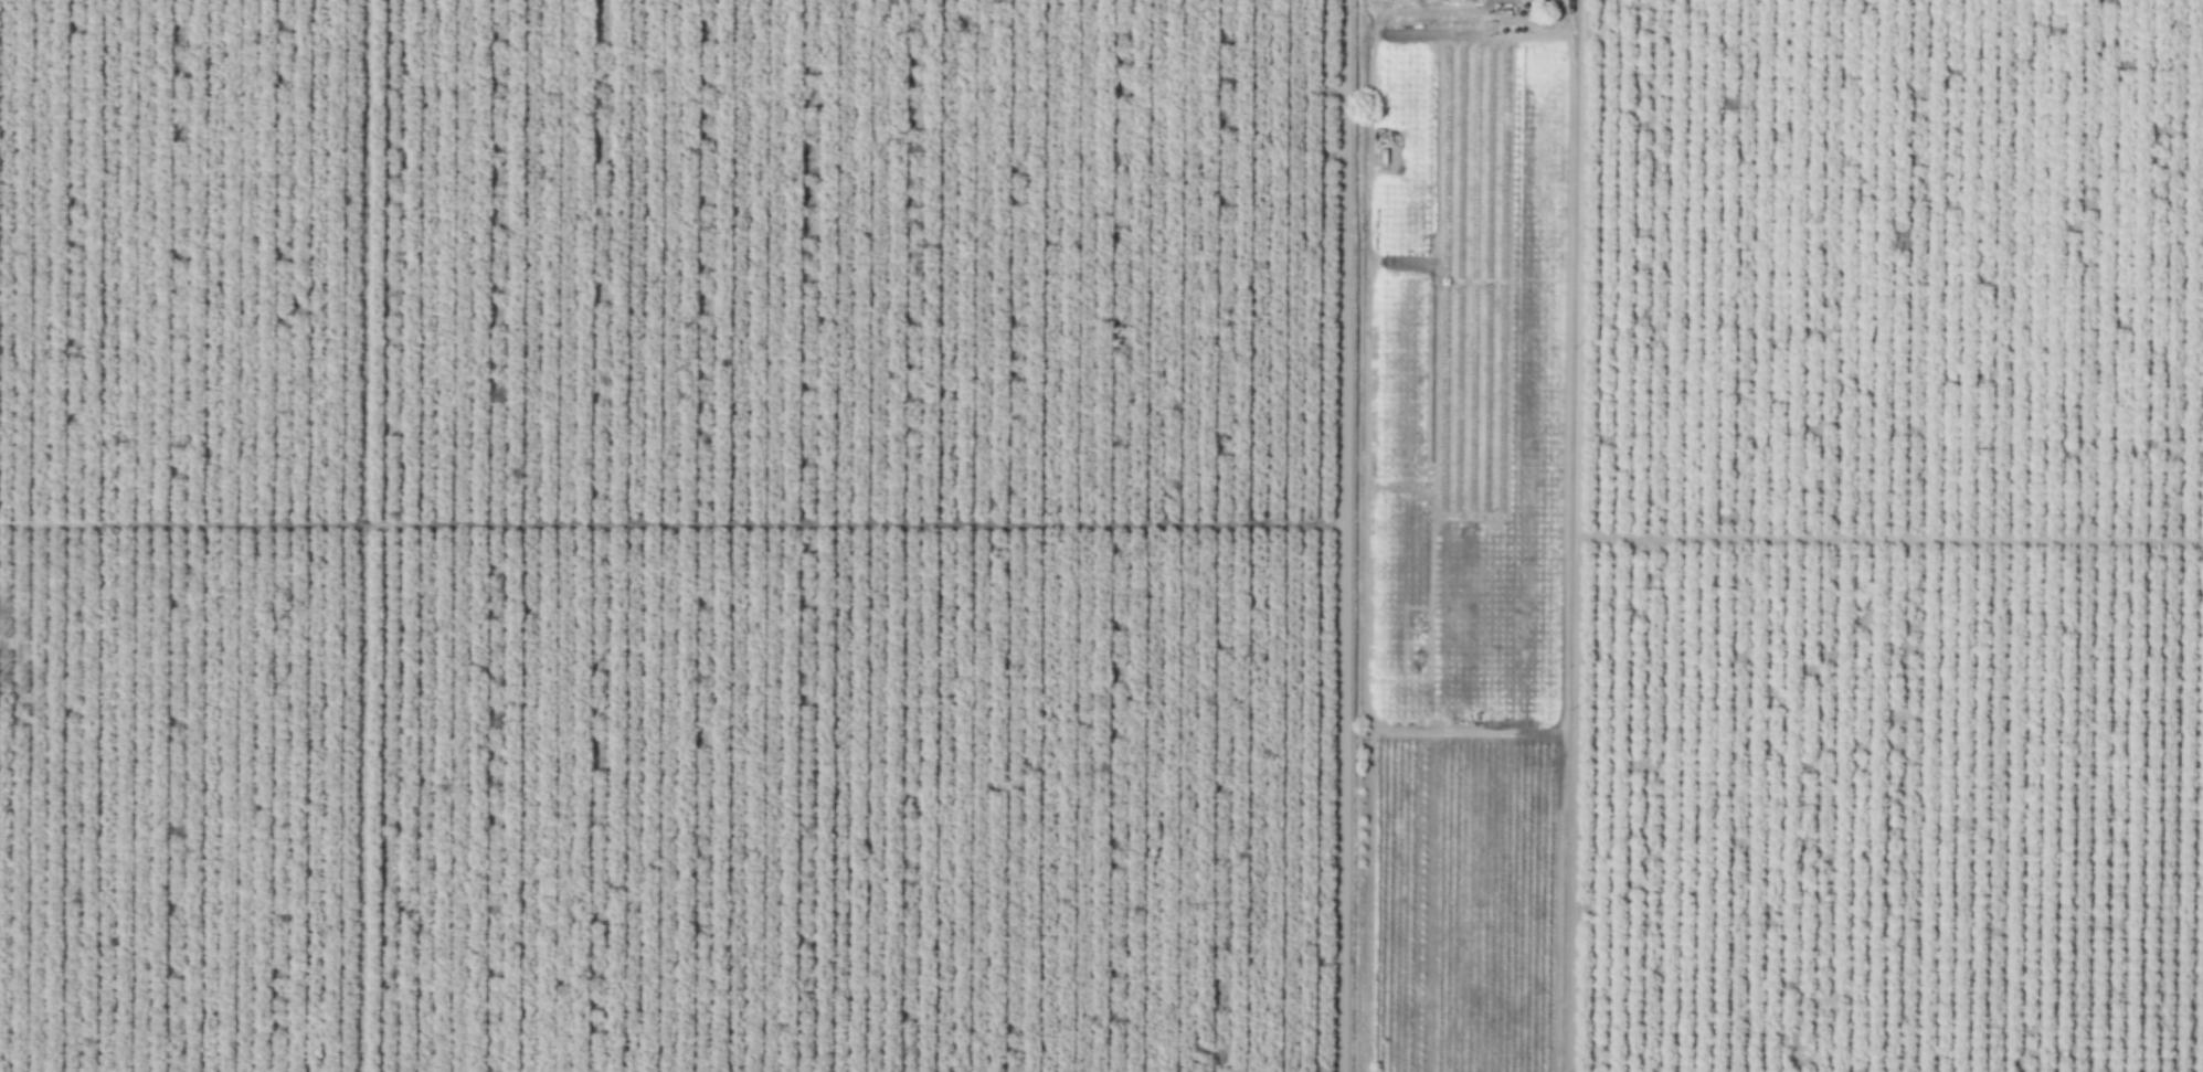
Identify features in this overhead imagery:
building: (1432, 0)
building: (1462, 0)
road: (1373, 33)

